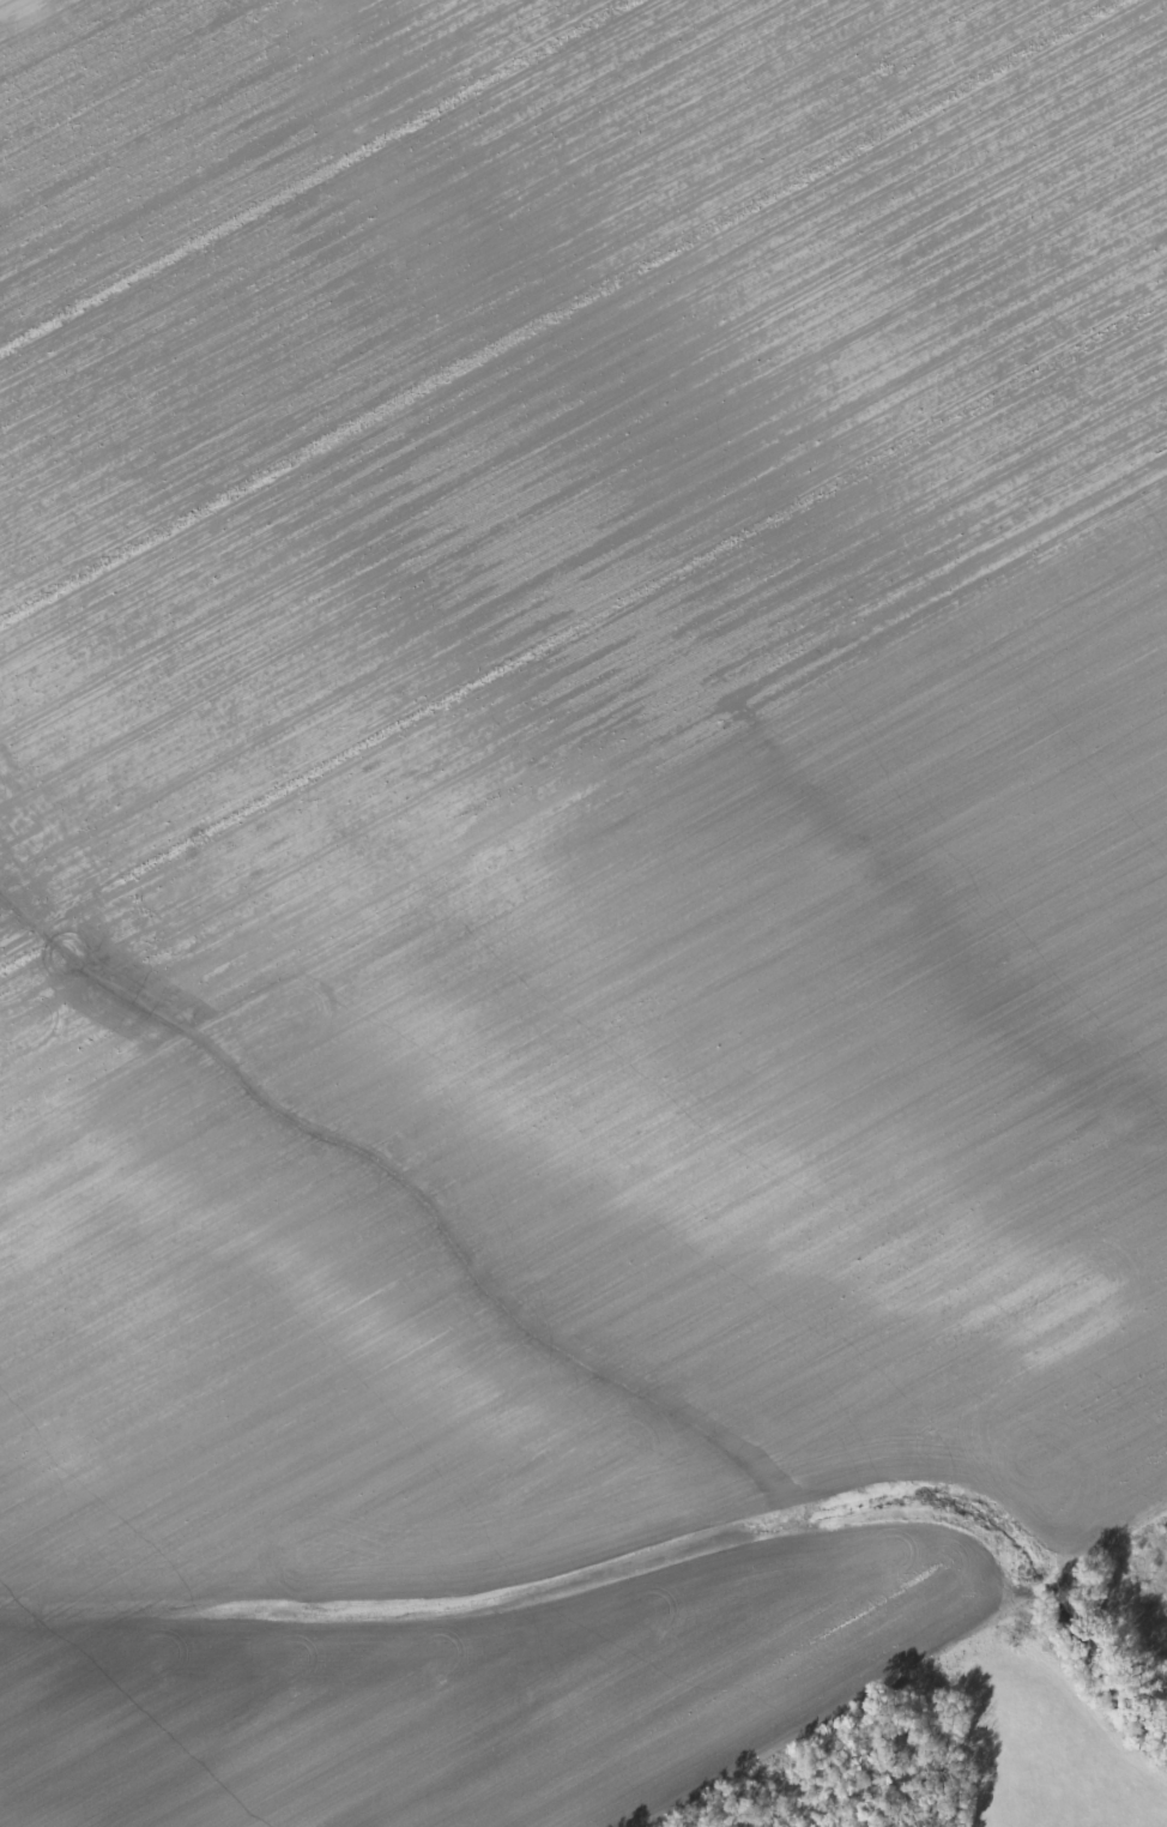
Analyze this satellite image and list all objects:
road: (7, 4)
power tower: (316, 12)

